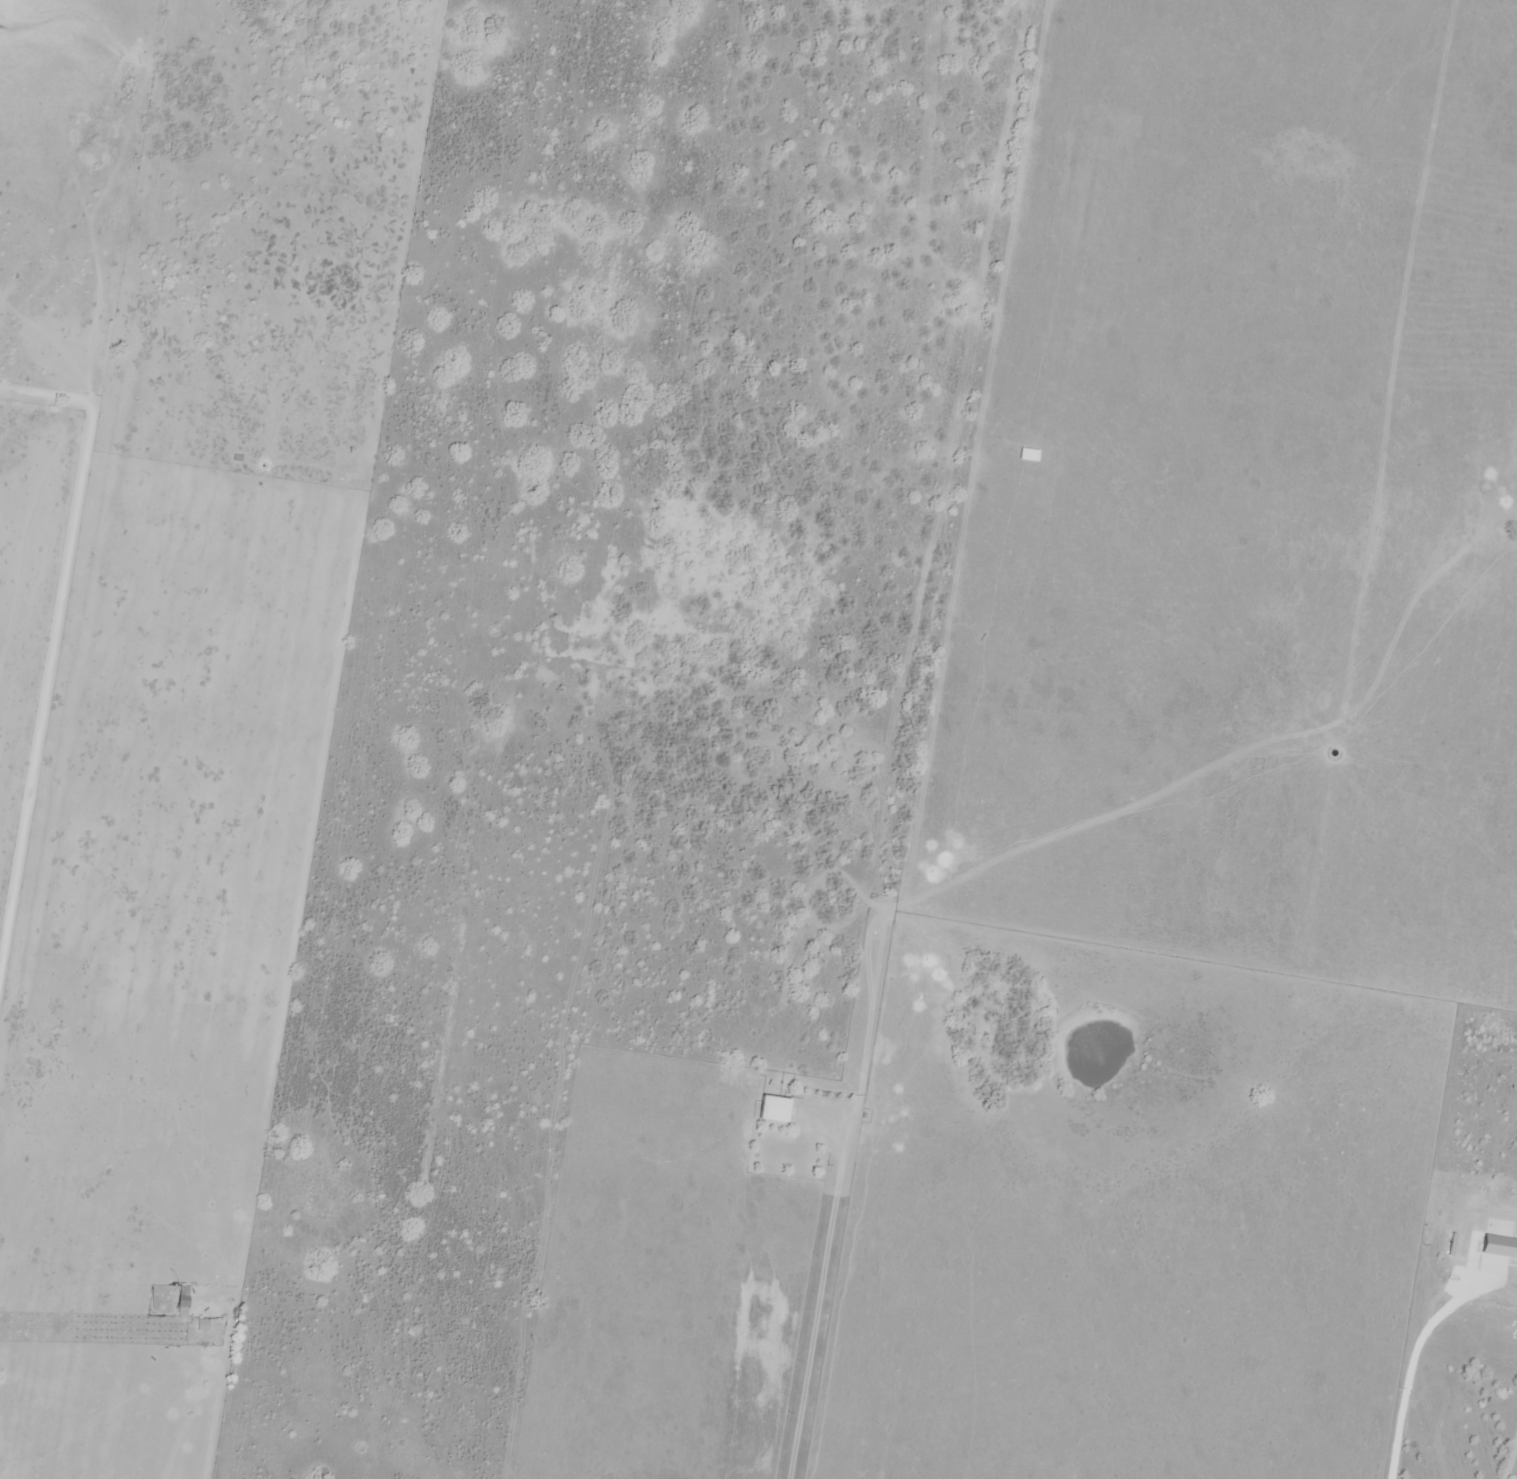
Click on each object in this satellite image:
road: (81, 489)
building: (775, 1108)

